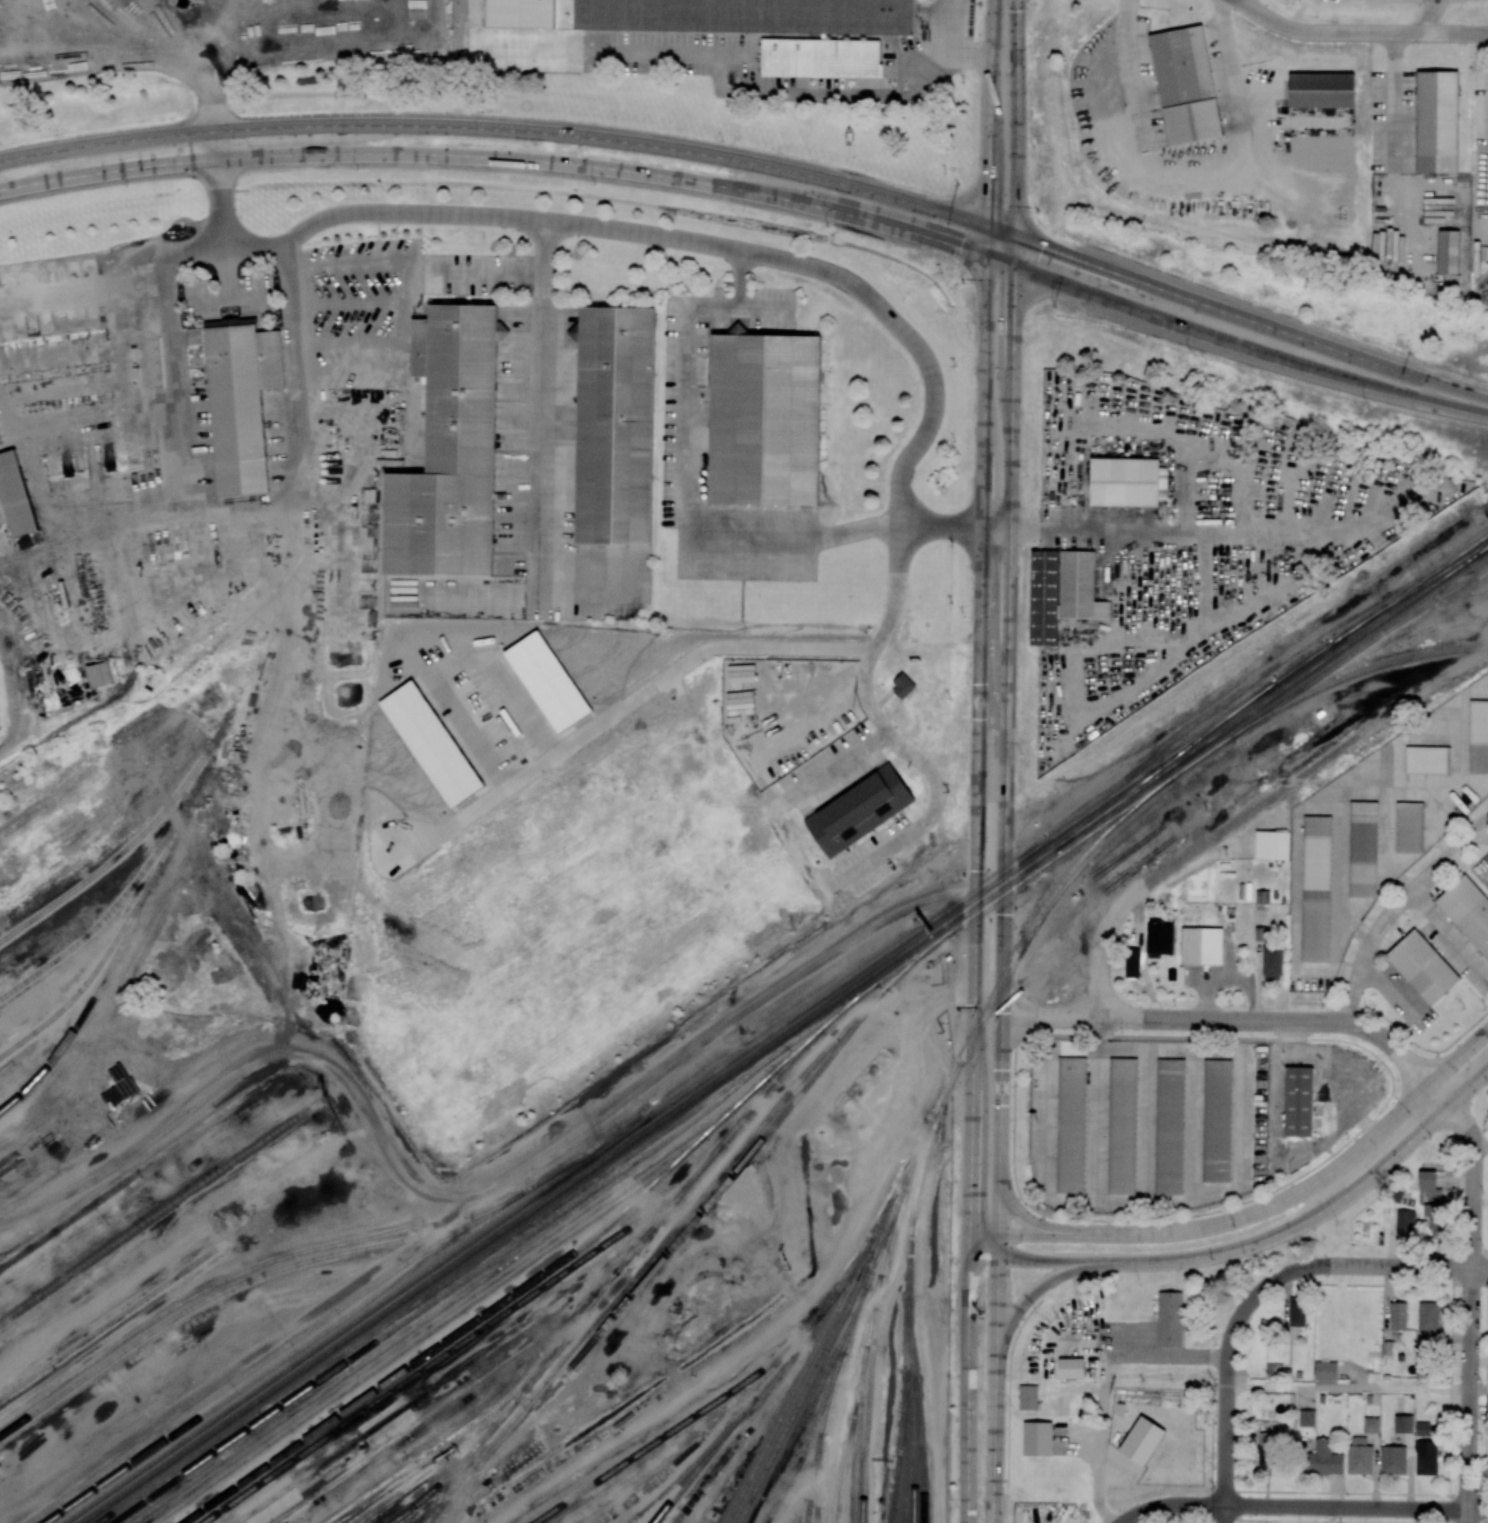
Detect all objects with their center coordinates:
building: (522, 14)
building: (856, 17)
road: (209, 33)
road: (1357, 34)
road: (965, 39)
road: (133, 48)
road: (713, 54)
building: (822, 59)
road: (1131, 69)
building: (1185, 86)
building: (1322, 90)
road: (991, 112)
road: (1019, 118)
building: (1438, 123)
road: (718, 157)
road: (598, 167)
traffic signals: (989, 227)
traffic signals: (1018, 238)
building: (1447, 252)
traffic signals: (989, 257)
traffic signals: (1017, 267)
road: (489, 273)
road: (228, 274)
road: (740, 280)
road: (230, 298)
road: (919, 353)
road: (1330, 374)
road: (1447, 387)
building: (236, 407)
building: (765, 416)
building: (616, 423)
building: (450, 453)
road: (541, 468)
road: (685, 474)
building: (1125, 481)
building: (16, 494)
road: (220, 510)
building: (0, 523)
road: (1058, 529)
railway: (302, 553)
railway: (1409, 589)
building: (1061, 592)
railway: (1409, 593)
railway: (1361, 645)
railway: (252, 655)
railway: (1305, 662)
road: (455, 667)
railway: (1357, 672)
building: (98, 674)
building: (902, 687)
railway: (1270, 698)
road: (628, 704)
railway: (145, 714)
building: (1478, 737)
railway: (1199, 758)
railway: (208, 759)
building: (1427, 760)
railway: (1165, 764)
road: (1300, 809)
building: (859, 810)
road: (1222, 827)
building: (1410, 827)
road: (1482, 838)
railway: (171, 839)
railway: (131, 845)
building: (1271, 845)
building: (1363, 847)
road: (977, 875)
road: (1006, 880)
building: (1316, 887)
building: (1262, 897)
building: (1467, 909)
road: (1394, 910)
railway: (107, 913)
building: (1260, 933)
road: (1450, 935)
building: (1156, 936)
building: (1203, 944)
railway: (1018, 946)
railway: (915, 959)
building: (1132, 962)
building: (1271, 963)
building: (1422, 966)
railway: (89, 977)
railway: (90, 1004)
railway: (848, 1006)
road: (1370, 1012)
road: (1229, 1021)
road: (1142, 1037)
railway: (794, 1053)
railway: (760, 1096)
railway: (673, 1101)
building: (1299, 1101)
building: (1217, 1119)
building: (1072, 1124)
building: (1124, 1124)
building: (1172, 1124)
road: (1481, 1147)
railway: (585, 1154)
railway: (630, 1154)
railway: (905, 1170)
railway: (141, 1172)
railway: (906, 1174)
railway: (729, 1180)
road: (1284, 1186)
railway: (568, 1188)
railway: (679, 1194)
railway: (914, 1195)
building: (1396, 1195)
road: (1172, 1200)
road: (1017, 1202)
building: (1432, 1203)
railway: (157, 1213)
road: (1258, 1213)
road: (1020, 1214)
building: (1405, 1222)
railway: (675, 1226)
road: (1258, 1245)
railway: (638, 1246)
railway: (857, 1262)
railway: (874, 1264)
road: (1394, 1268)
railway: (246, 1280)
road: (1469, 1285)
railway: (452, 1289)
road: (1032, 1294)
railway: (190, 1296)
road: (1471, 1297)
railway: (450, 1302)
railway: (585, 1310)
building: (1296, 1313)
railway: (486, 1314)
building: (1397, 1316)
building: (1427, 1317)
road: (1019, 1318)
building: (1170, 1319)
railway: (108, 1323)
railway: (430, 1331)
railway: (843, 1344)
railway: (459, 1345)
railway: (82, 1351)
railway: (285, 1357)
railway: (910, 1357)
railway: (906, 1358)
railway: (817, 1363)
railway: (870, 1365)
building: (1070, 1368)
building: (1325, 1371)
railway: (245, 1373)
railway: (772, 1375)
railway: (450, 1376)
railway: (528, 1378)
road: (1228, 1380)
road: (1102, 1384)
road: (1349, 1389)
railway: (793, 1391)
road: (1479, 1391)
road: (1449, 1396)
building: (1028, 1398)
railway: (449, 1400)
road: (1484, 1403)
road: (1007, 1407)
railway: (859, 1408)
railway: (824, 1411)
building: (1306, 1418)
railway: (800, 1420)
building: (1402, 1424)
building: (1370, 1425)
railway: (681, 1426)
building: (1422, 1429)
railway: (900, 1437)
building: (1037, 1440)
building: (1142, 1440)
railway: (848, 1442)
railway: (443, 1443)
railway: (802, 1447)
building: (1265, 1450)
building: (1359, 1456)
building: (1425, 1458)
building: (1322, 1459)
railway: (914, 1460)
railway: (921, 1460)
building: (1392, 1460)
railway: (904, 1461)
railway: (454, 1467)
railway: (435, 1468)
railway: (691, 1476)
railway: (678, 1478)
railway: (846, 1481)
railway: (811, 1485)
railway: (815, 1488)
road: (1217, 1490)
road: (1362, 1493)
railway: (446, 1496)
railway: (441, 1497)
railway: (892, 1499)
railway: (895, 1500)
road: (1306, 1507)
railway: (805, 1520)
railway: (805, 1520)
road: (1302, 1521)

